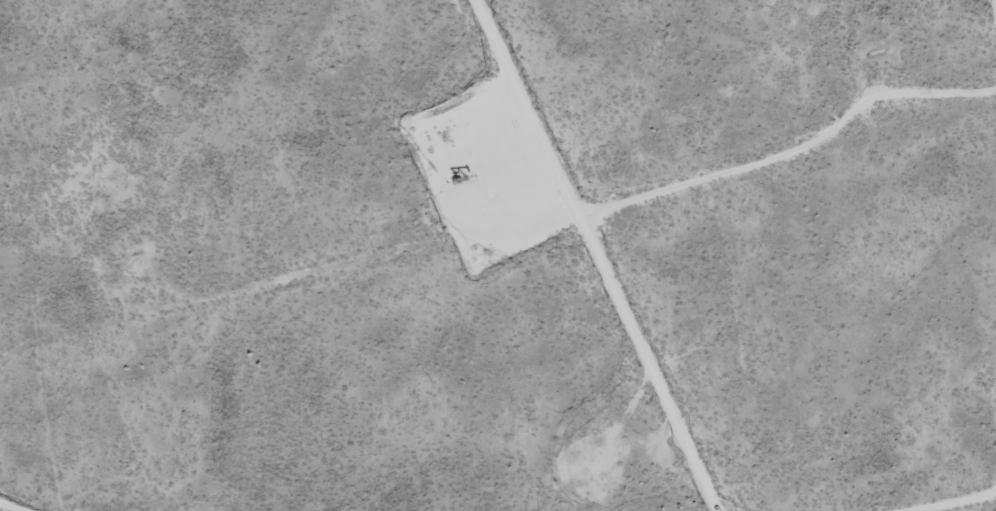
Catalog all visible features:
road: (615, 255)
road: (19, 503)

